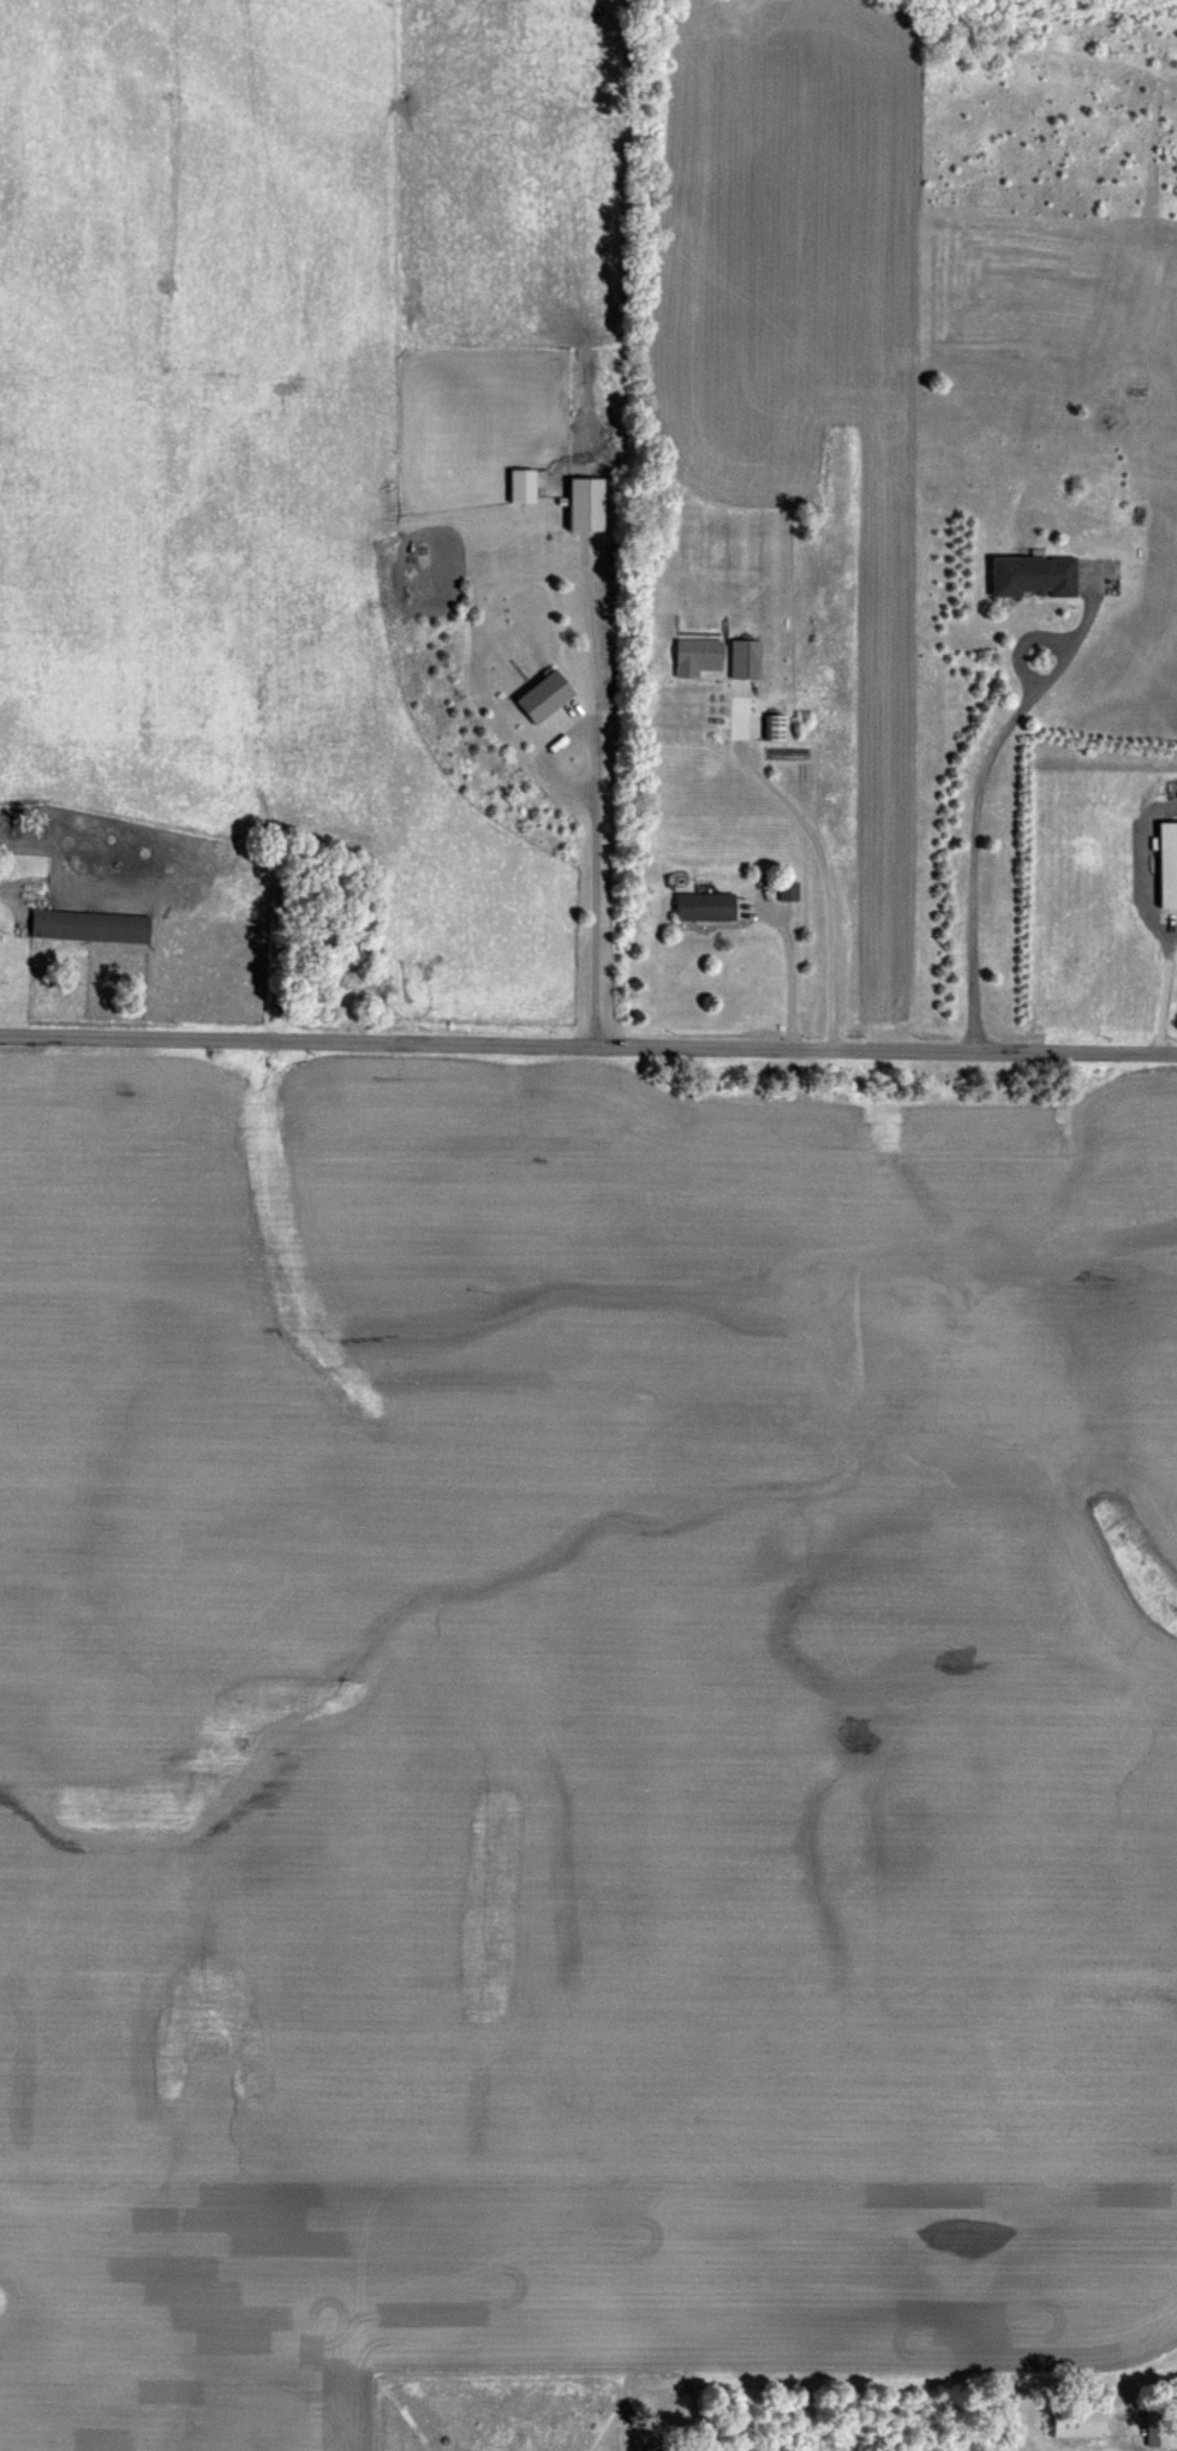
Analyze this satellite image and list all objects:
crop: (185, 405)
building: (518, 485)
building: (579, 503)
building: (1027, 577)
road: (1089, 607)
building: (689, 654)
building: (737, 658)
building: (531, 694)
building: (767, 726)
road: (587, 755)
road: (980, 775)
road: (556, 786)
road: (813, 851)
building: (1164, 864)
building: (782, 889)
road: (6, 894)
building: (697, 905)
building: (83, 920)
park: (327, 937)
road: (784, 958)
road: (1163, 980)
road: (588, 1043)
crop: (587, 1746)
building: (1071, 2421)
road: (1117, 2449)

